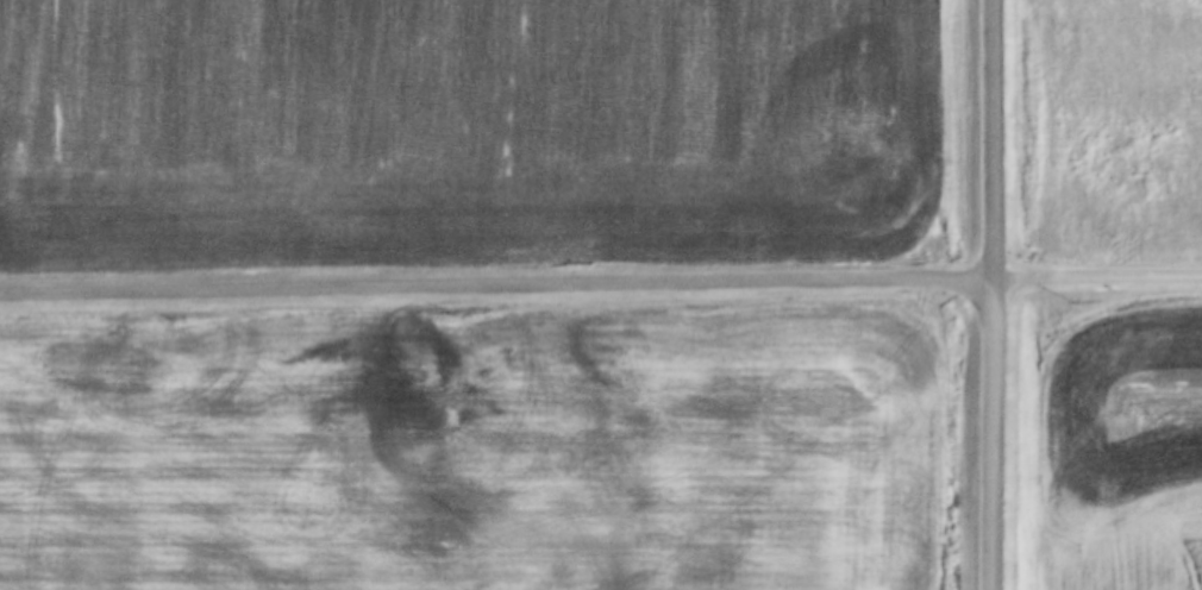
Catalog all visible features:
road: (600, 285)
road: (991, 295)

